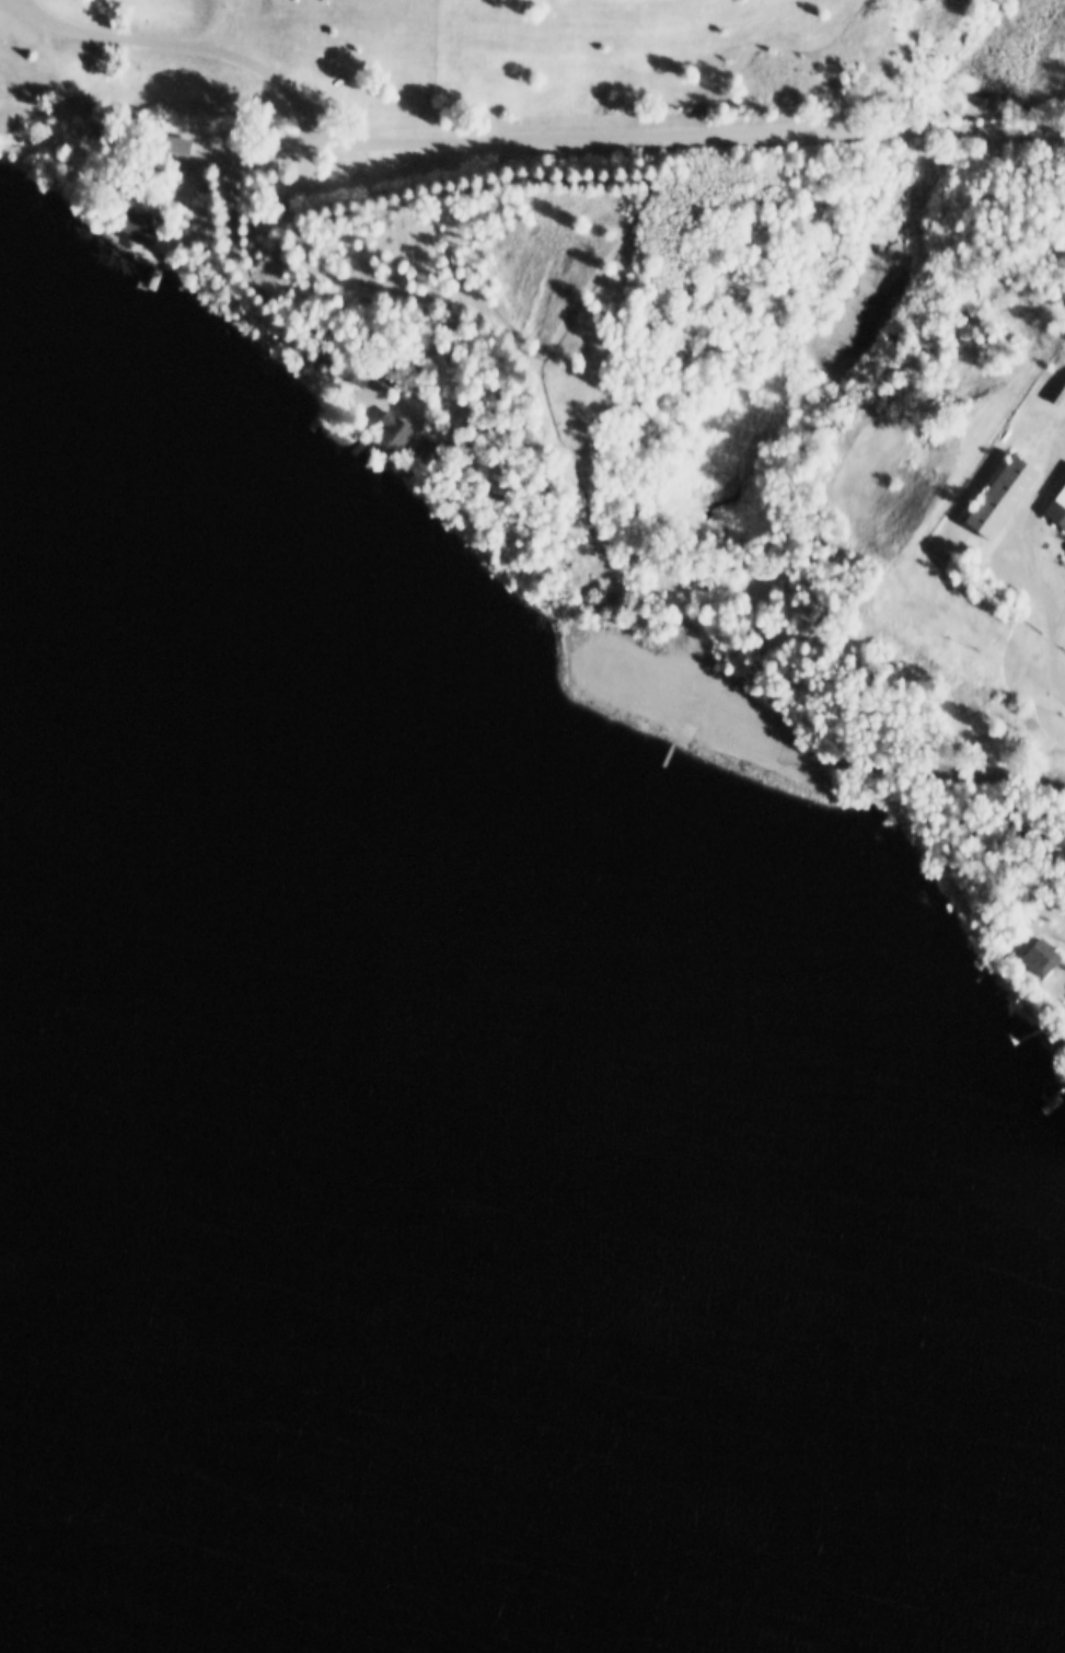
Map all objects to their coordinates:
road: (188, 43)
road: (505, 143)
building: (169, 146)
building: (135, 220)
building: (395, 428)
building: (412, 440)
building: (424, 453)
building: (438, 459)
building: (996, 493)
building: (1056, 504)
road: (1029, 542)
building: (1063, 554)
road: (1055, 656)
road: (968, 768)
building: (1039, 952)

